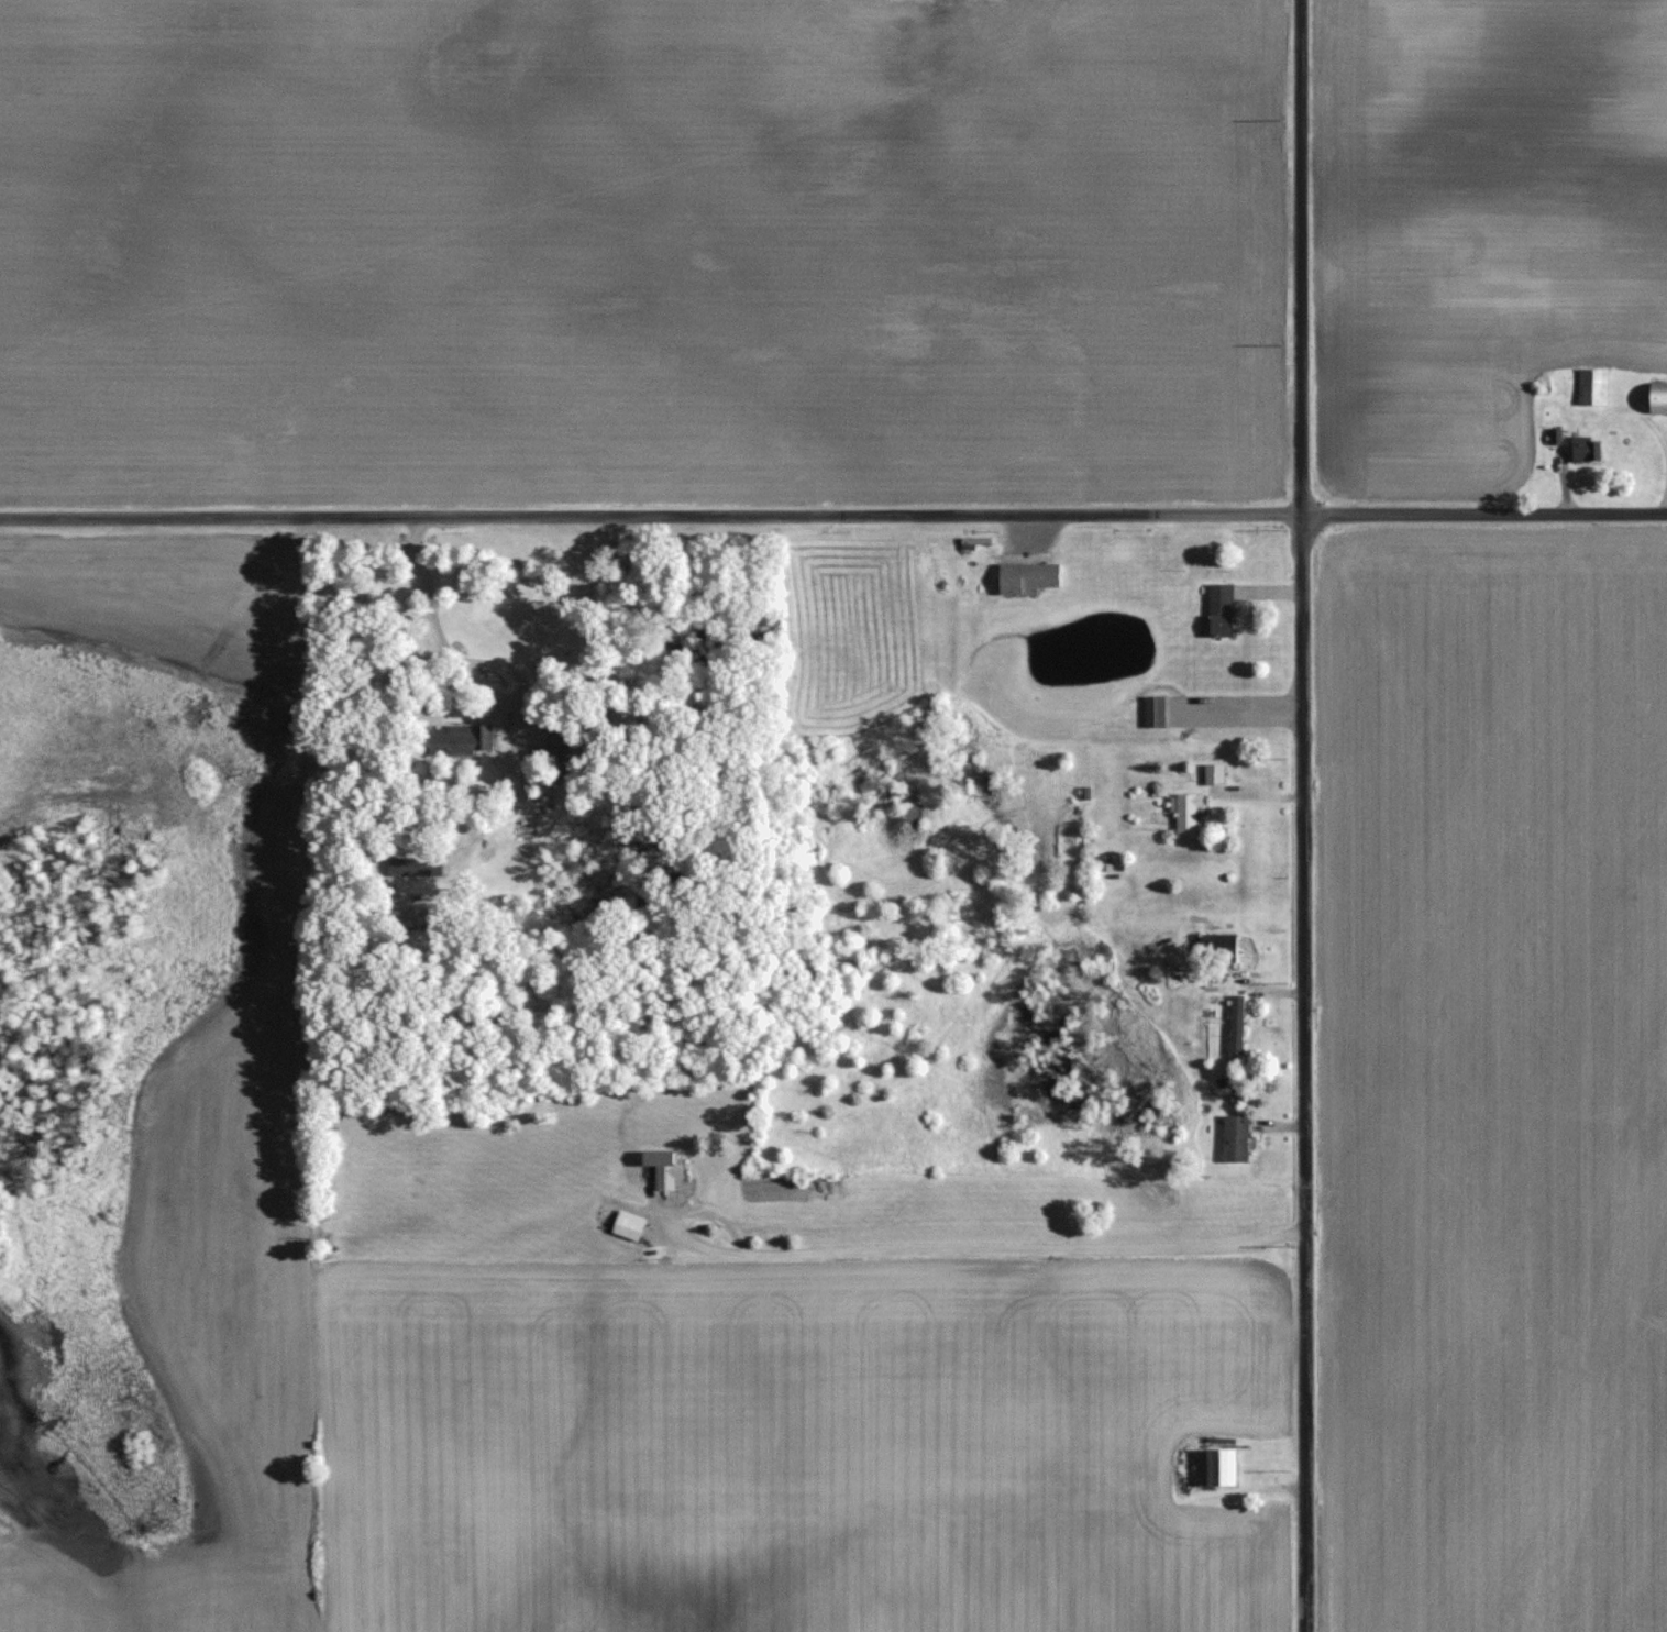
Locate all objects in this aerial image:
crop: (684, 9)
crop: (1481, 225)
crop: (636, 260)
road: (833, 517)
road: (1301, 816)
crop: (1498, 1085)
road: (980, 1250)
crop: (211, 1341)
crop: (790, 1449)

